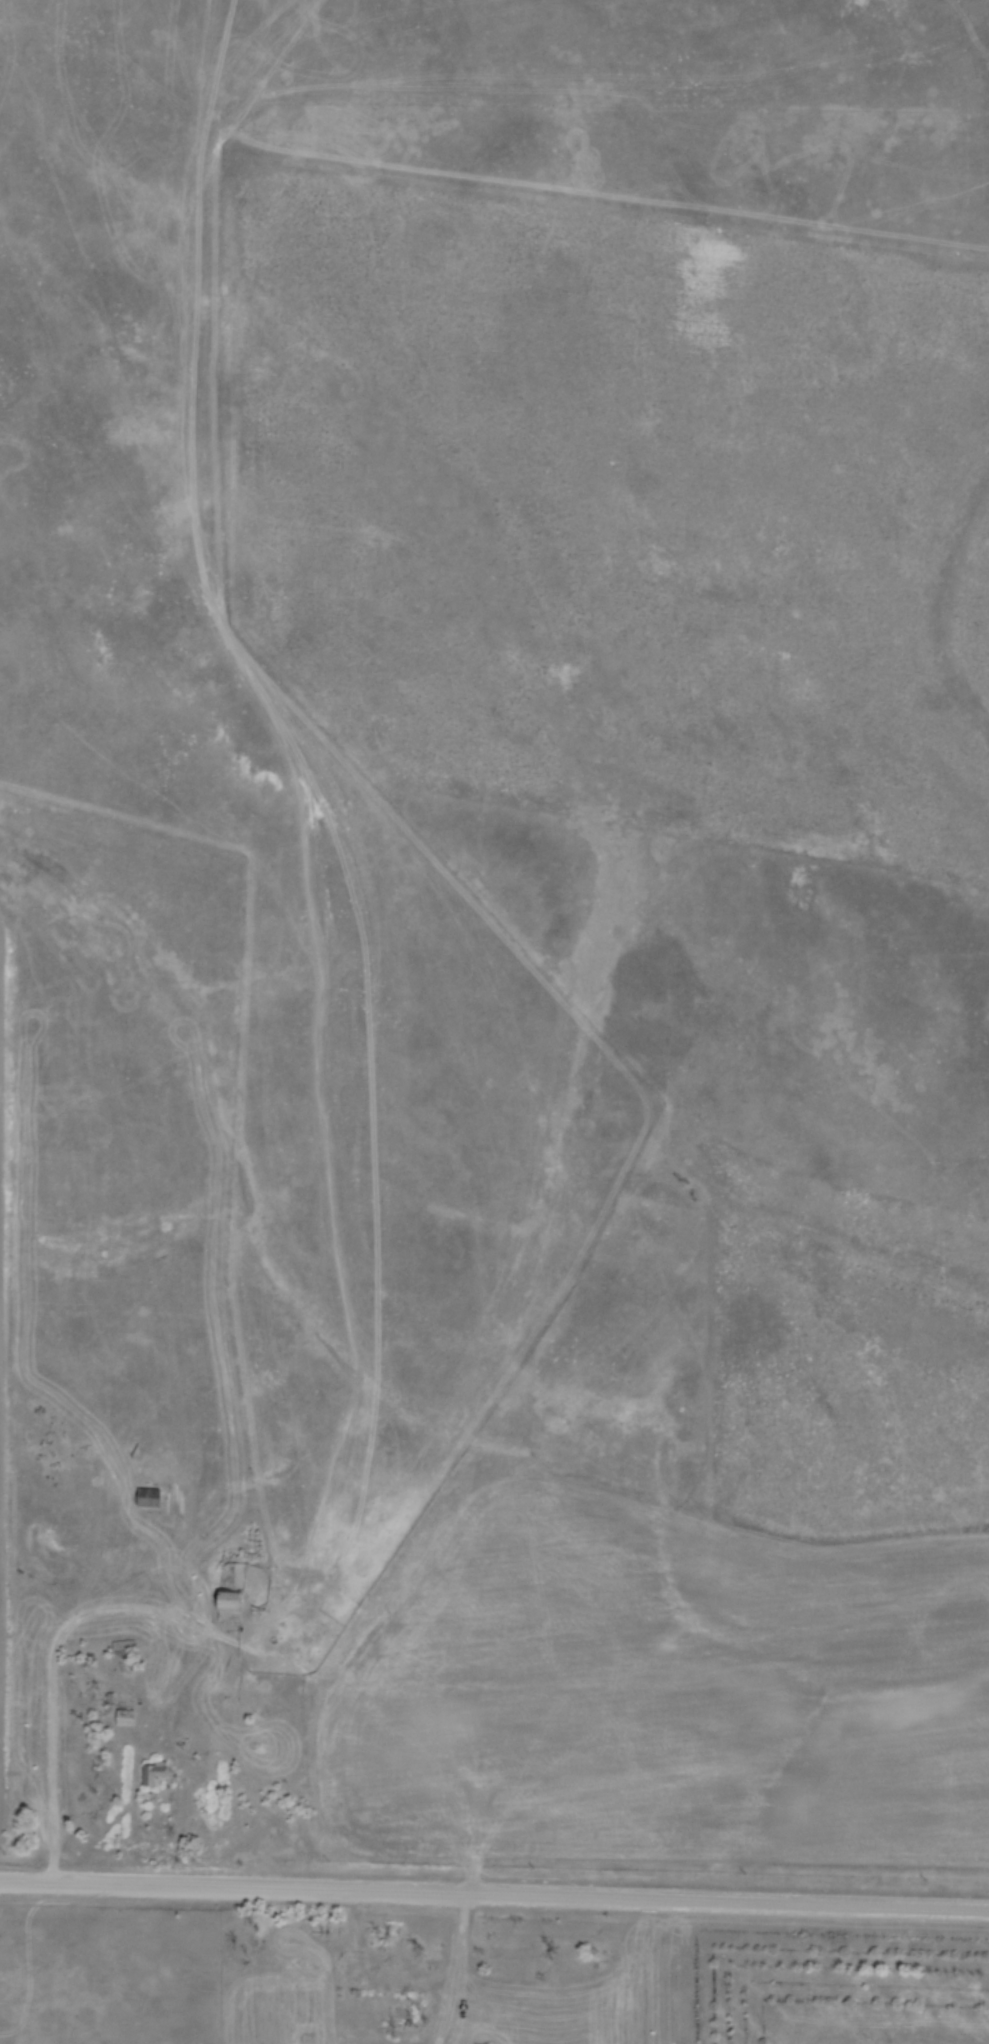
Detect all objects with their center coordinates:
crop: (0, 1382)
building: (148, 1496)
building: (229, 1587)
building: (122, 1650)
road: (53, 1661)
crop: (665, 1693)
building: (124, 1715)
building: (151, 1773)
road: (494, 1894)
road: (460, 1949)
building: (403, 2011)
building: (481, 2043)

